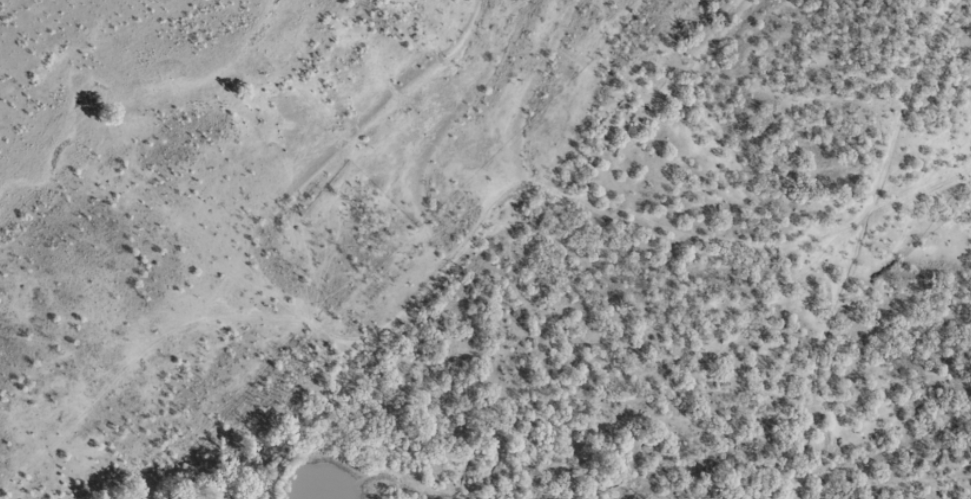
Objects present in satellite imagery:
road: (660, 243)

